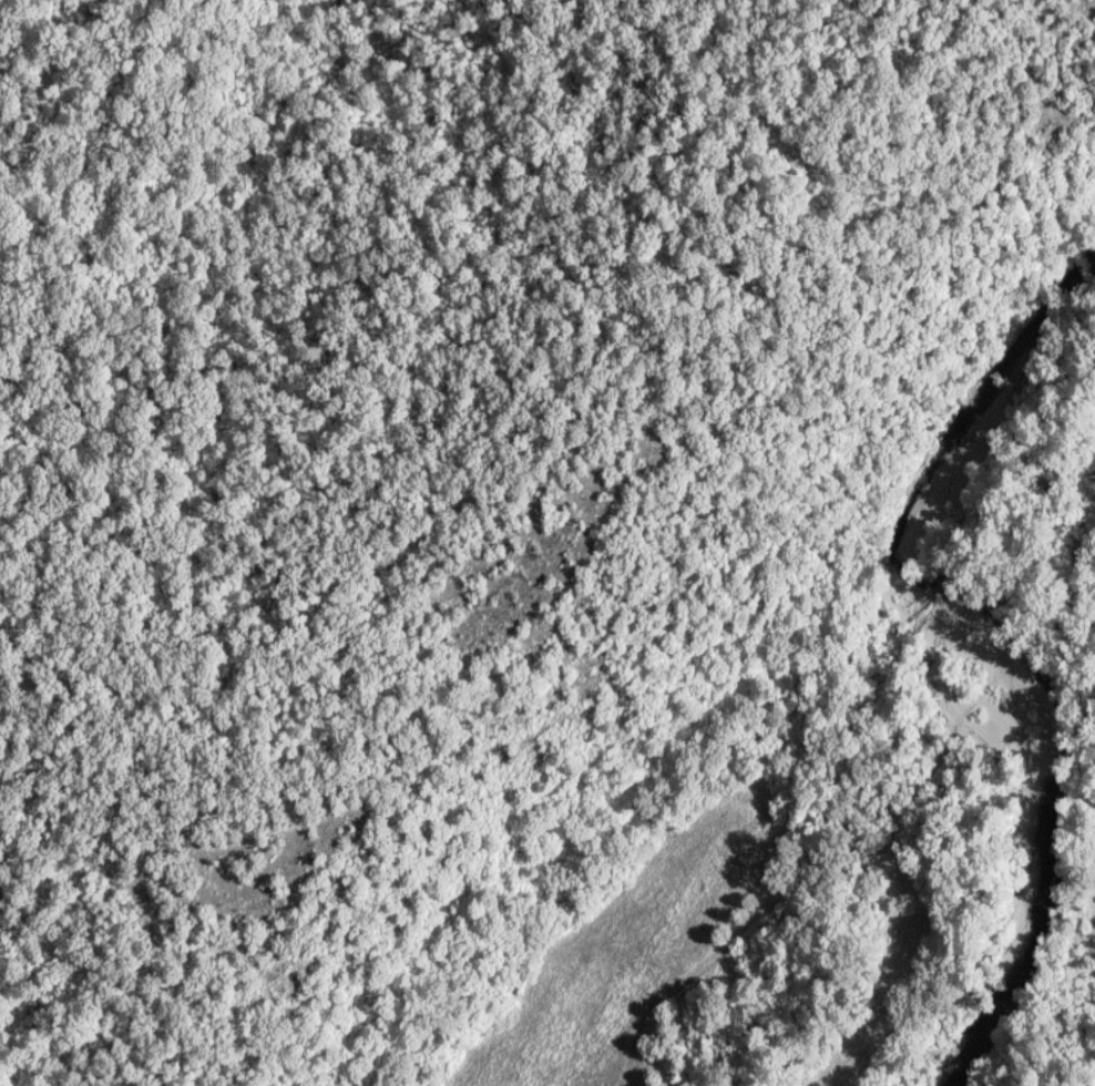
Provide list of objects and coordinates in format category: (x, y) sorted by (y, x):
road: (12, 16)
road: (890, 830)

